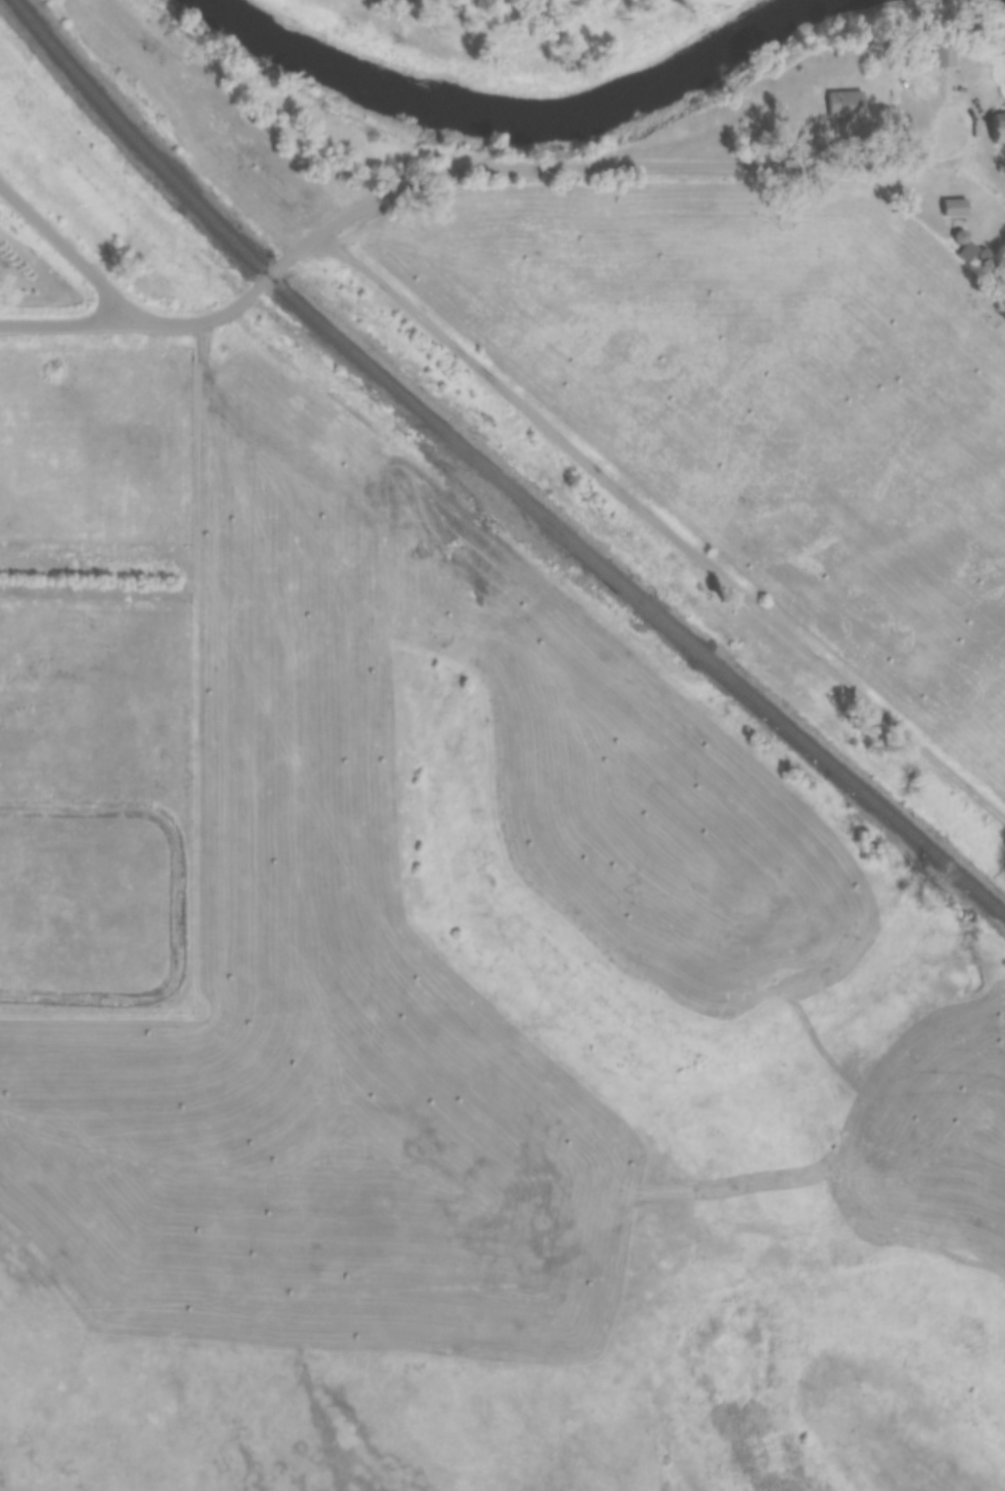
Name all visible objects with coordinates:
building: (942, 57)
building: (845, 105)
river: (512, 116)
building: (999, 127)
road: (708, 164)
building: (957, 207)
building: (967, 246)
road: (68, 248)
road: (232, 305)
road: (66, 320)
railway: (494, 472)
road: (661, 522)

